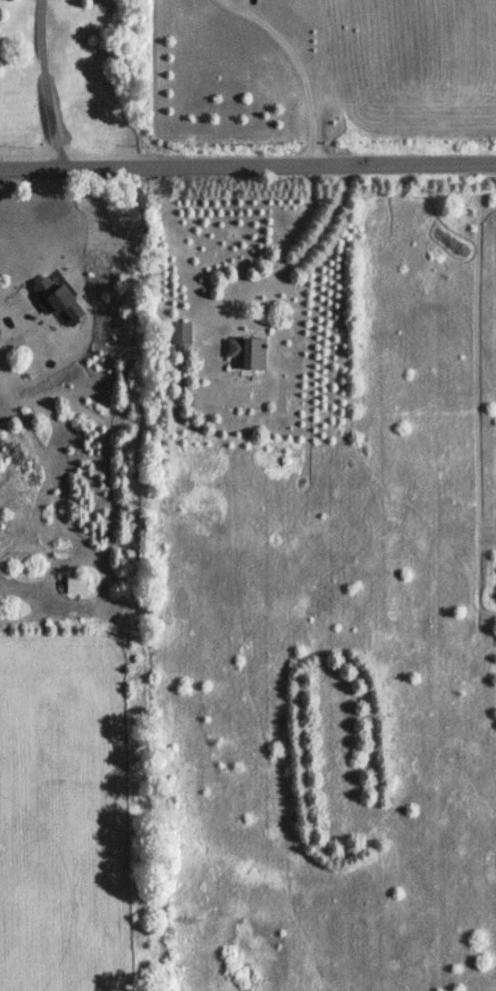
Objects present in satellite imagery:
road: (298, 74)
road: (42, 82)
road: (247, 162)
road: (287, 242)
building: (51, 299)
road: (1, 315)
building: (179, 335)
building: (244, 354)
building: (72, 585)

